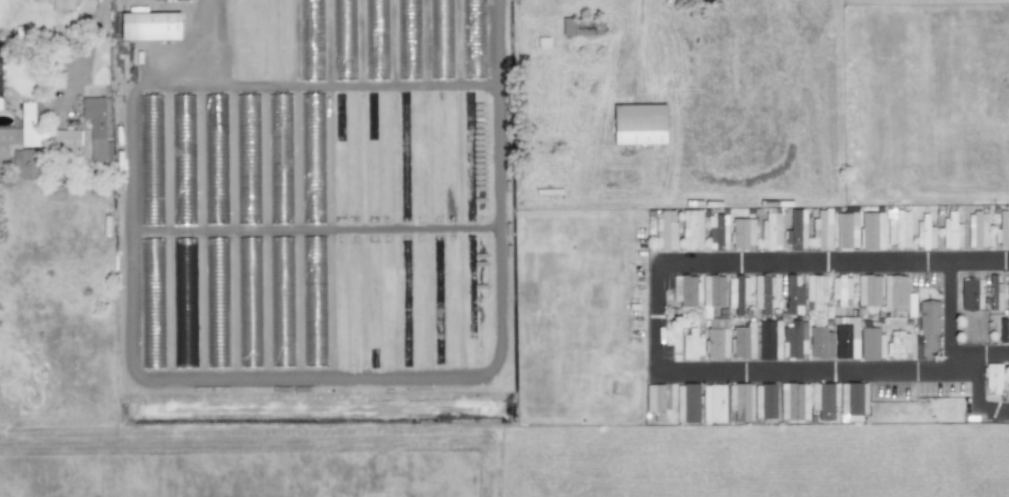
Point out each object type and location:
building: (62, 4)
building: (149, 26)
road: (89, 37)
building: (32, 124)
building: (638, 124)
building: (95, 126)
building: (8, 139)
building: (65, 141)
building: (183, 155)
building: (150, 159)
building: (215, 165)
building: (897, 228)
building: (977, 229)
building: (665, 230)
building: (691, 230)
building: (796, 230)
building: (821, 230)
building: (871, 230)
building: (1002, 230)
building: (770, 231)
building: (846, 231)
building: (951, 231)
building: (717, 232)
building: (925, 232)
building: (742, 233)
building: (1008, 288)
building: (745, 290)
building: (688, 291)
building: (712, 292)
building: (814, 292)
building: (885, 293)
building: (968, 294)
building: (994, 294)
building: (793, 295)
building: (732, 299)
building: (281, 303)
building: (249, 304)
building: (216, 312)
road: (950, 316)
road: (659, 325)
building: (717, 338)
building: (845, 338)
building: (757, 340)
building: (820, 343)
building: (870, 343)
building: (692, 344)
building: (898, 344)
building: (992, 376)
building: (824, 400)
building: (764, 401)
building: (851, 401)
road: (979, 402)
building: (656, 403)
building: (711, 403)
crop: (393, 445)

